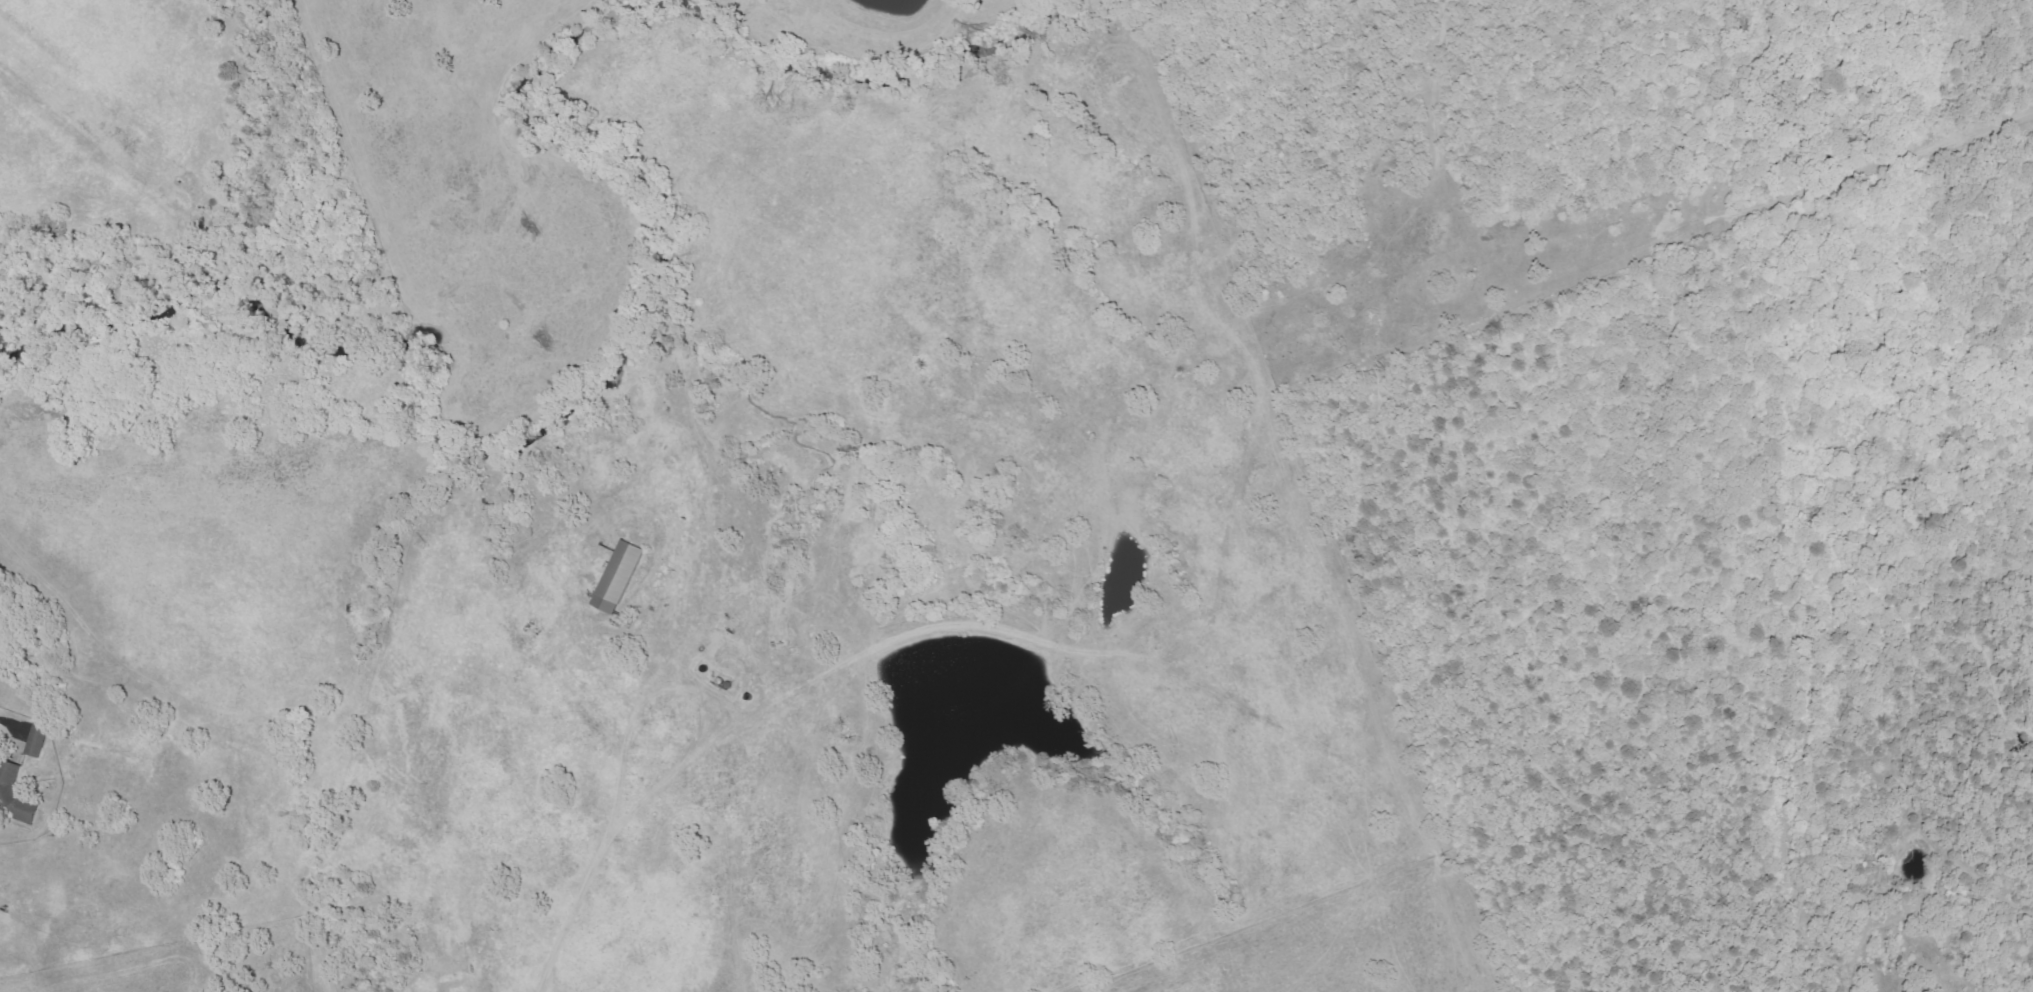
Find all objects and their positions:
building: (617, 578)
road: (574, 911)

